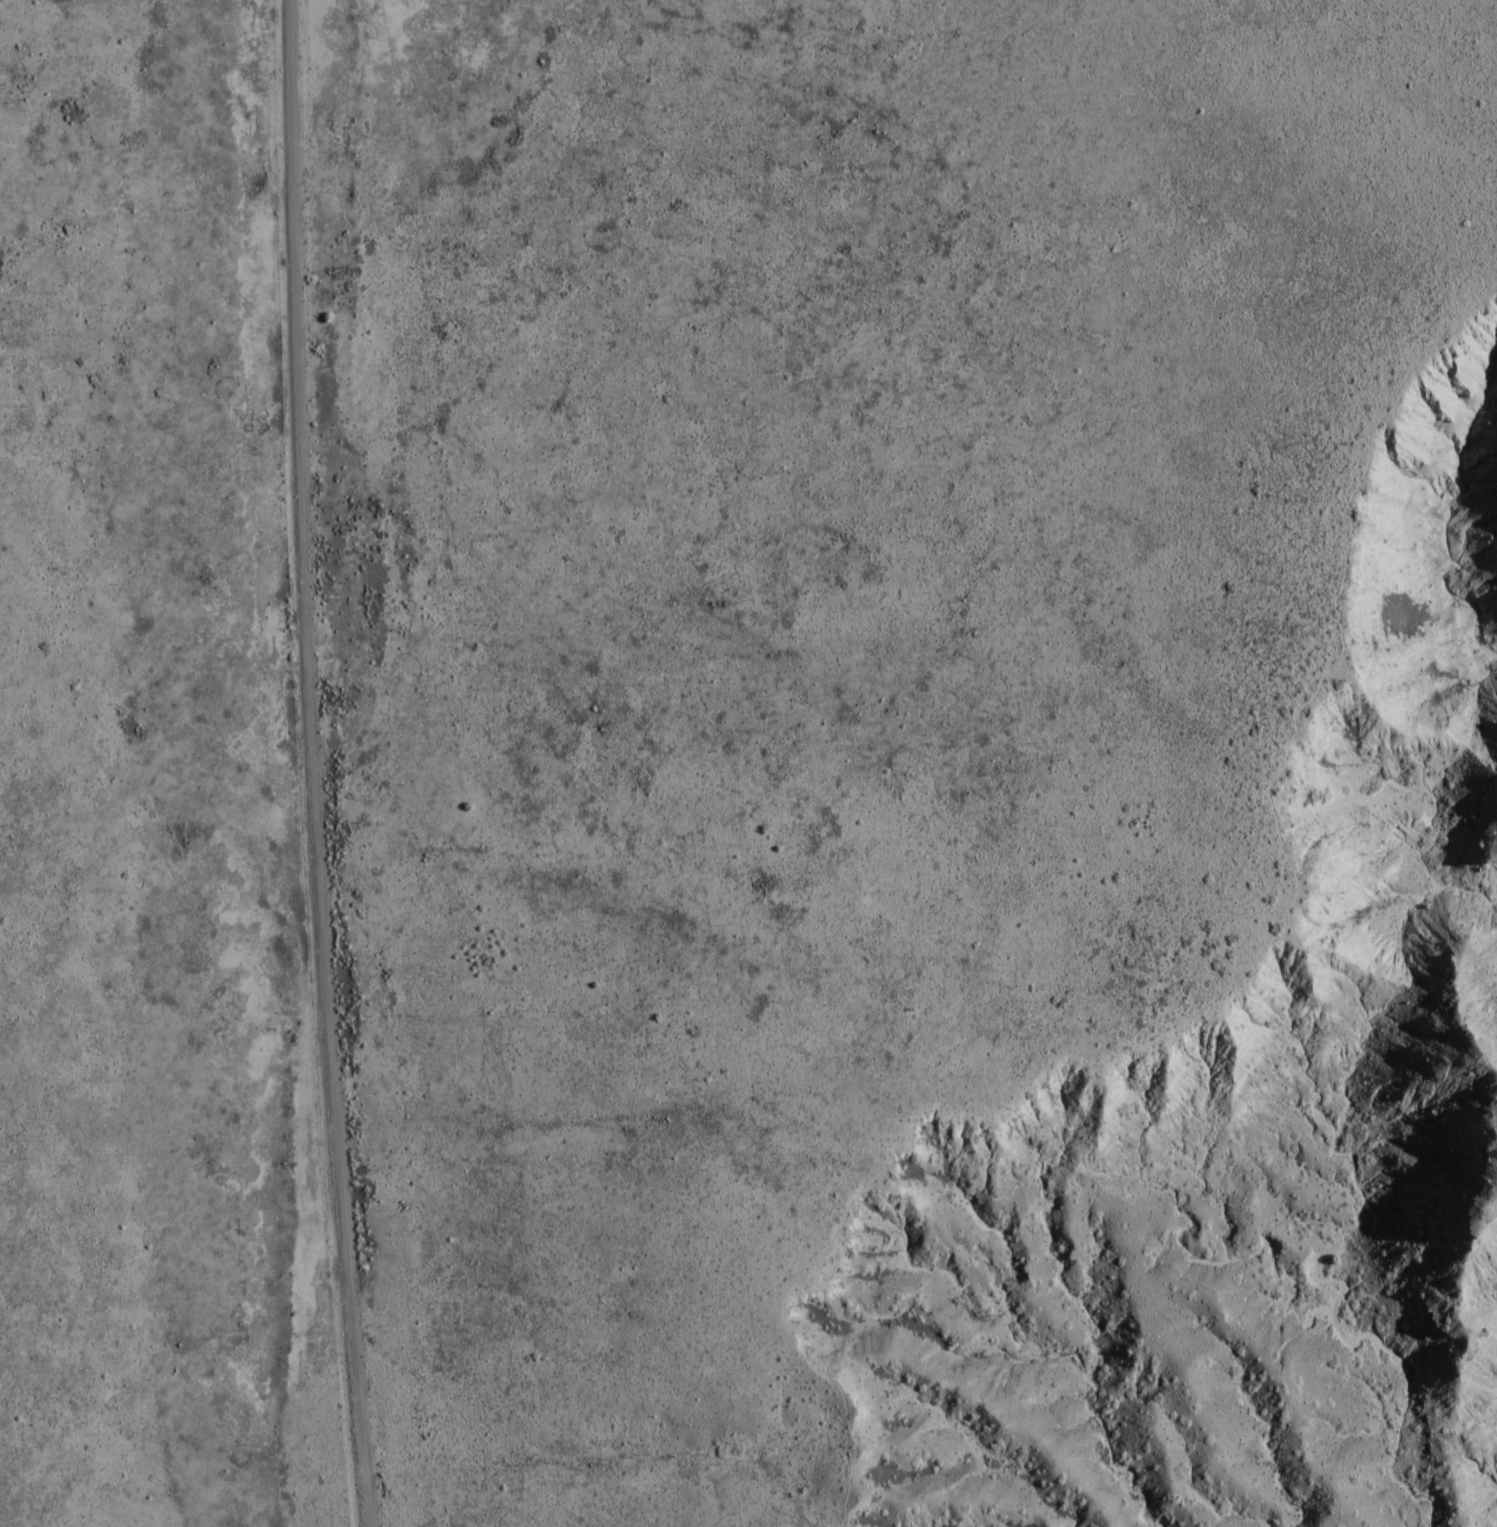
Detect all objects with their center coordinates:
road: (311, 764)
road: (1215, 1005)

